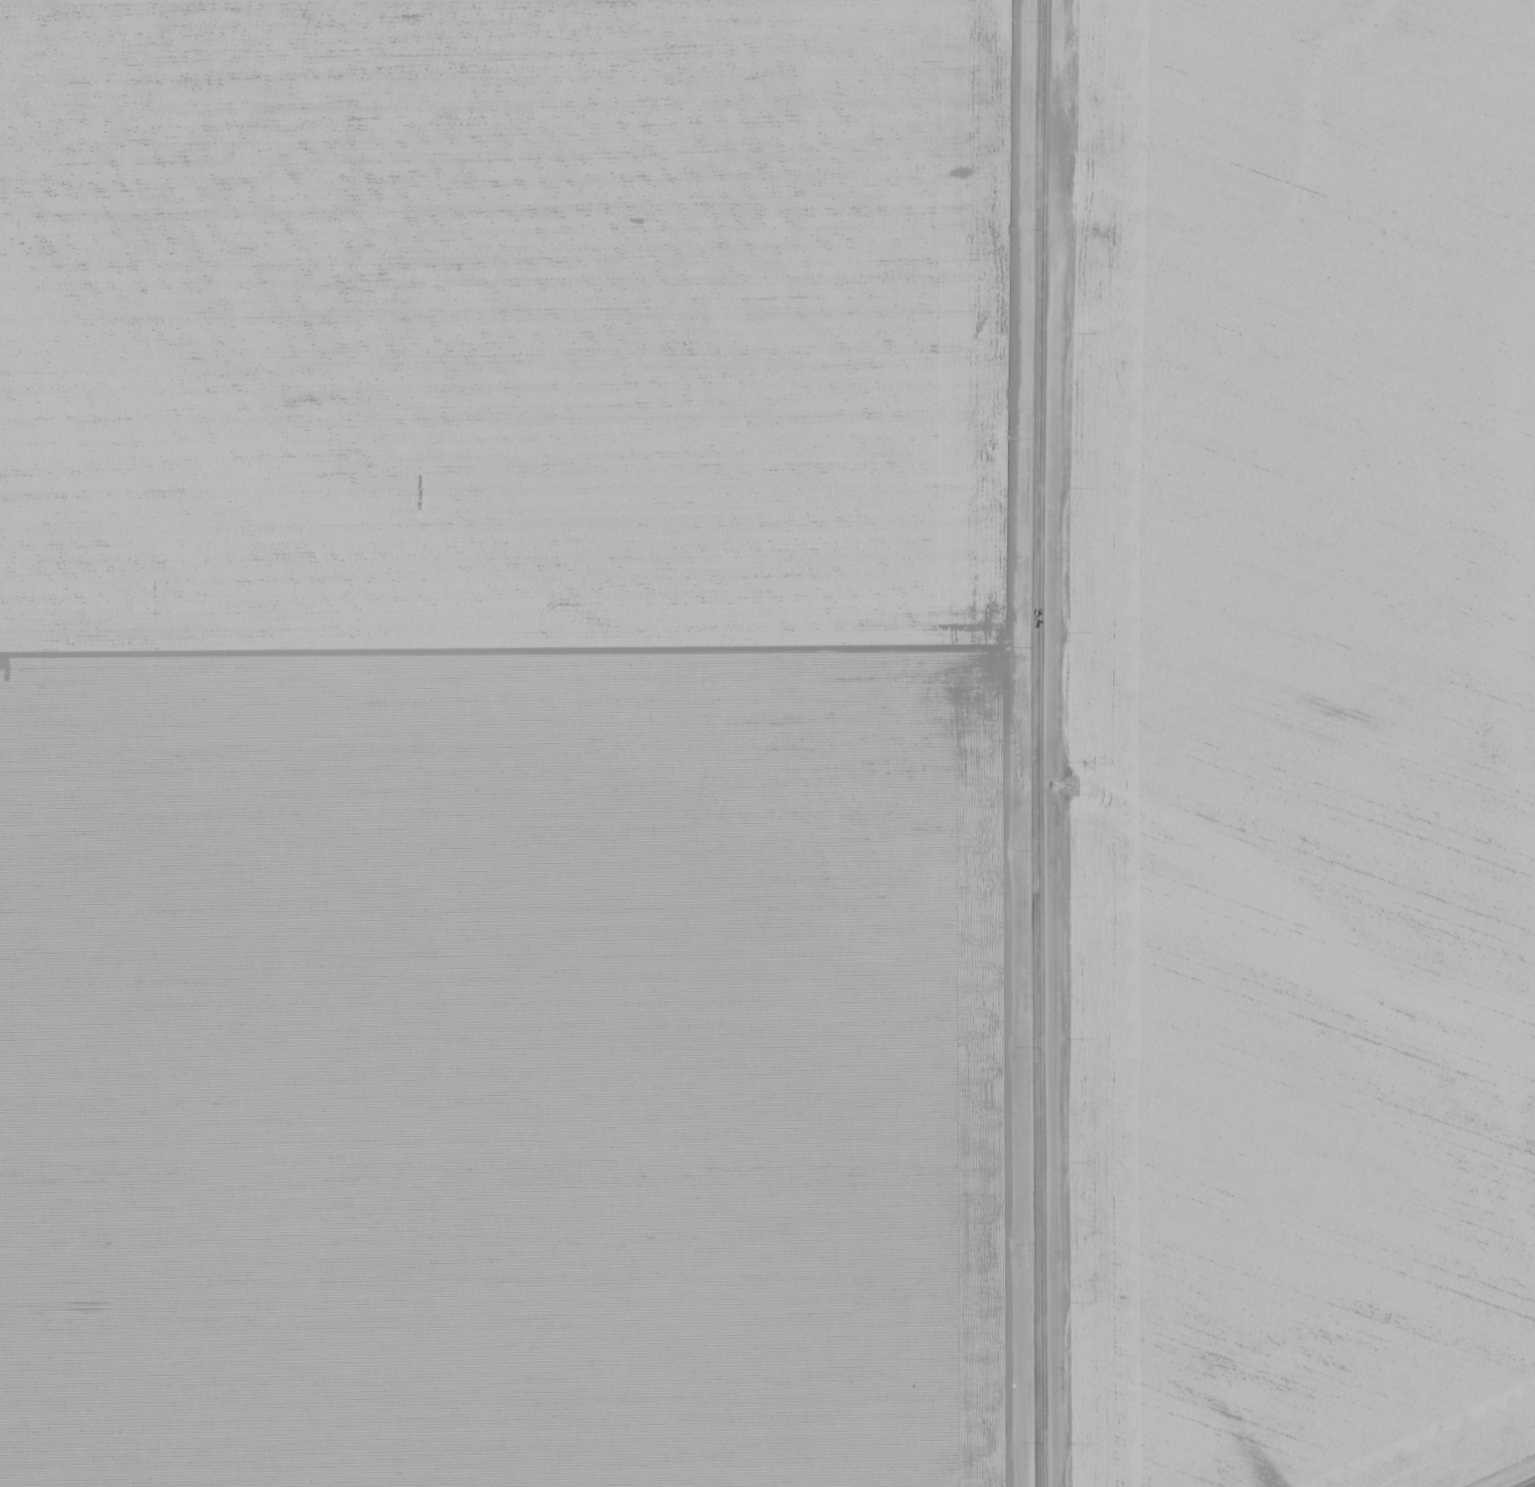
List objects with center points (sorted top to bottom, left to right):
road: (1039, 743)

